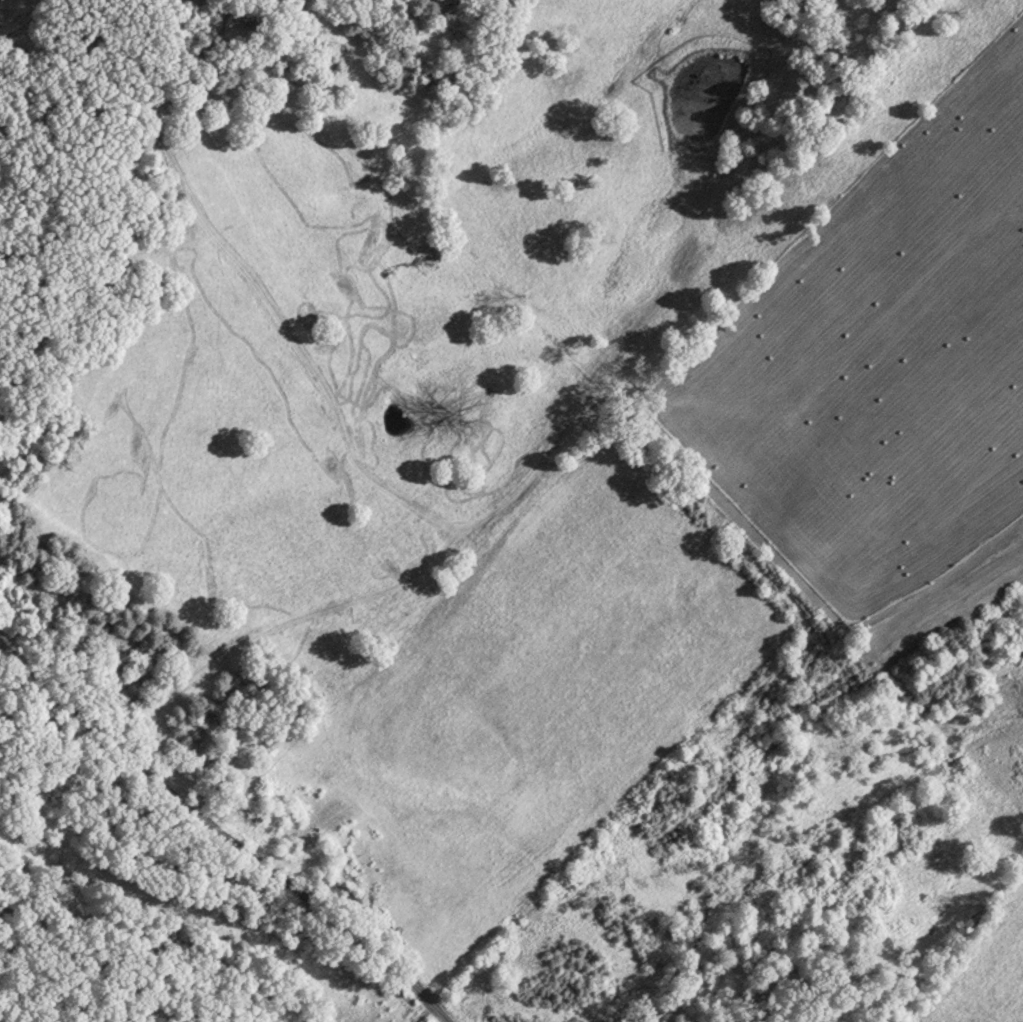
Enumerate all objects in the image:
road: (224, 820)

